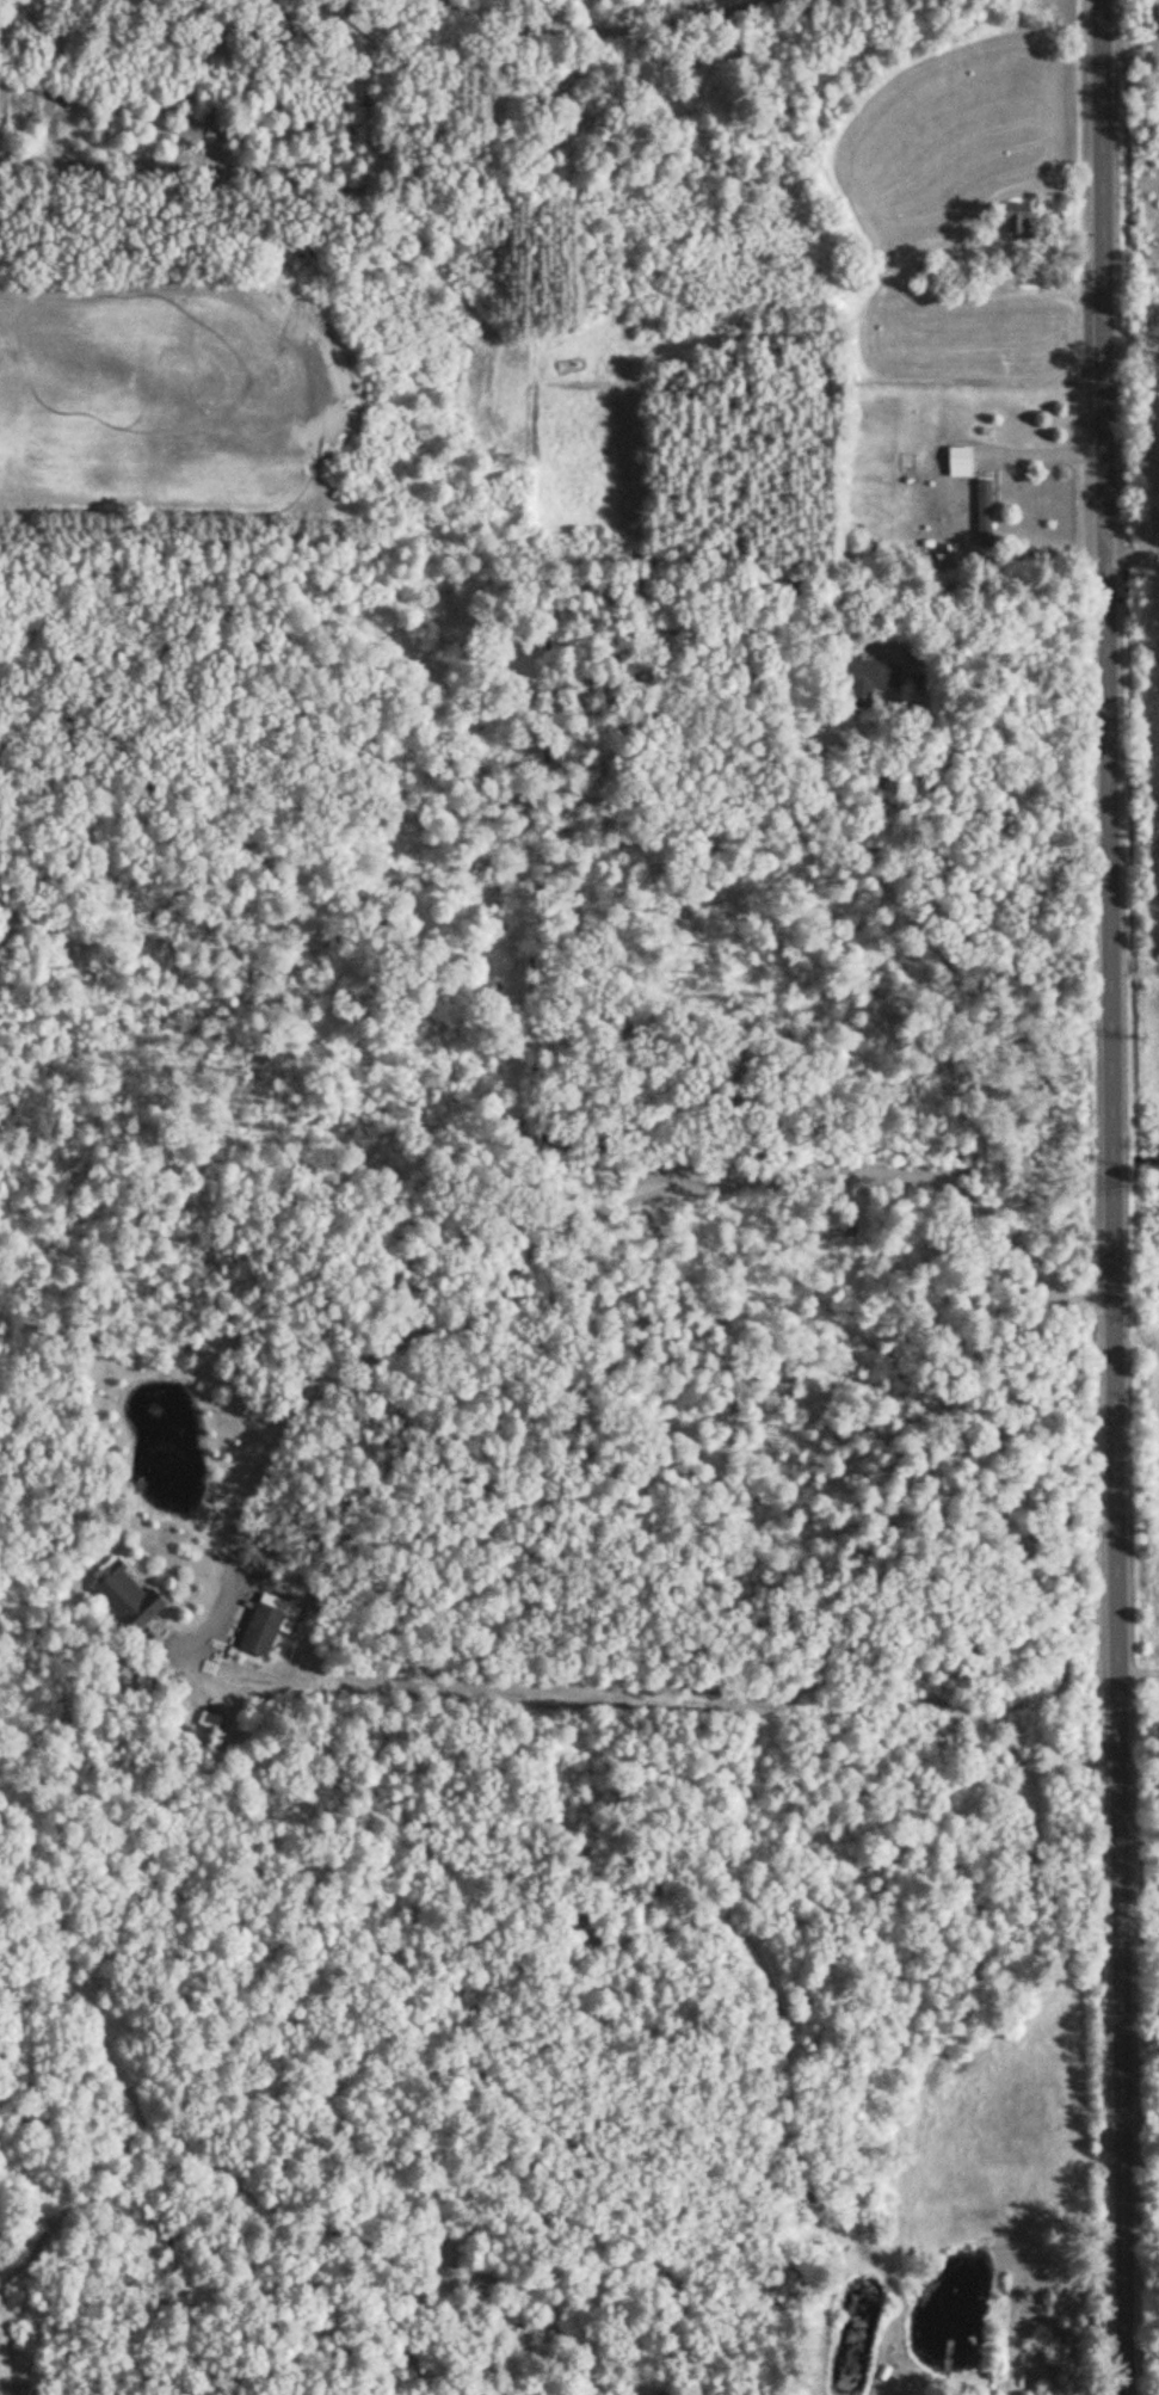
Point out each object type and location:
building: (1012, 221)
road: (1035, 433)
building: (955, 461)
building: (979, 512)
road: (1133, 554)
road: (1112, 1197)
road: (551, 1235)
building: (121, 1596)
building: (263, 1624)

